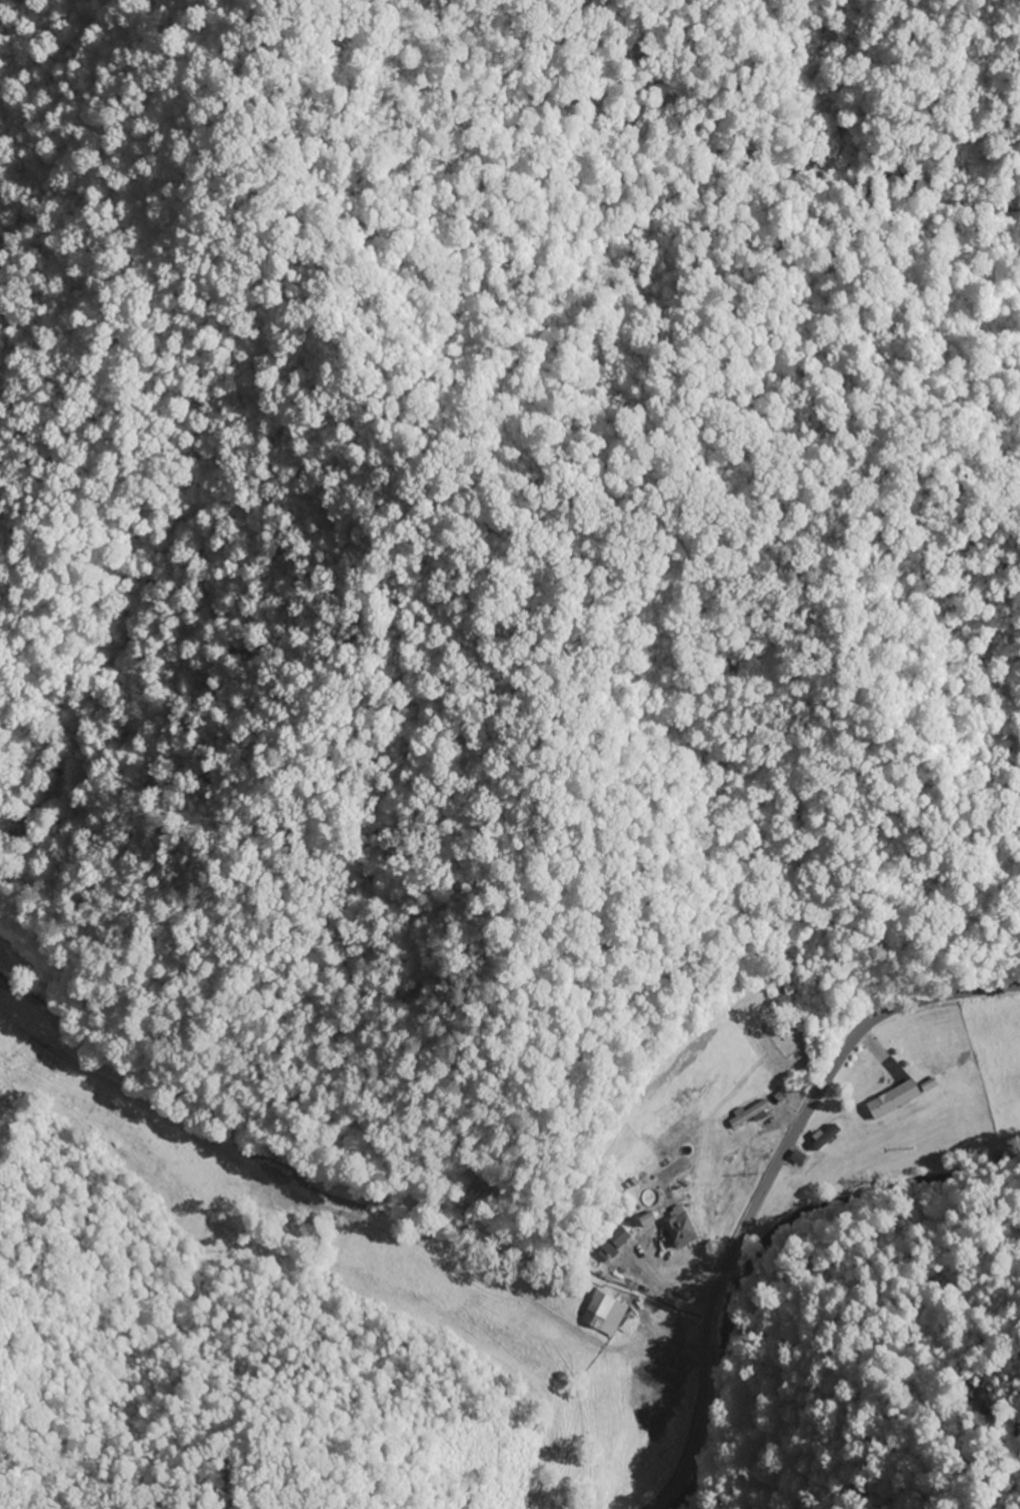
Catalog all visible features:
building: (890, 1099)
building: (747, 1115)
building: (824, 1137)
road: (768, 1189)
building: (643, 1220)
building: (677, 1231)
building: (617, 1238)
building: (598, 1305)

